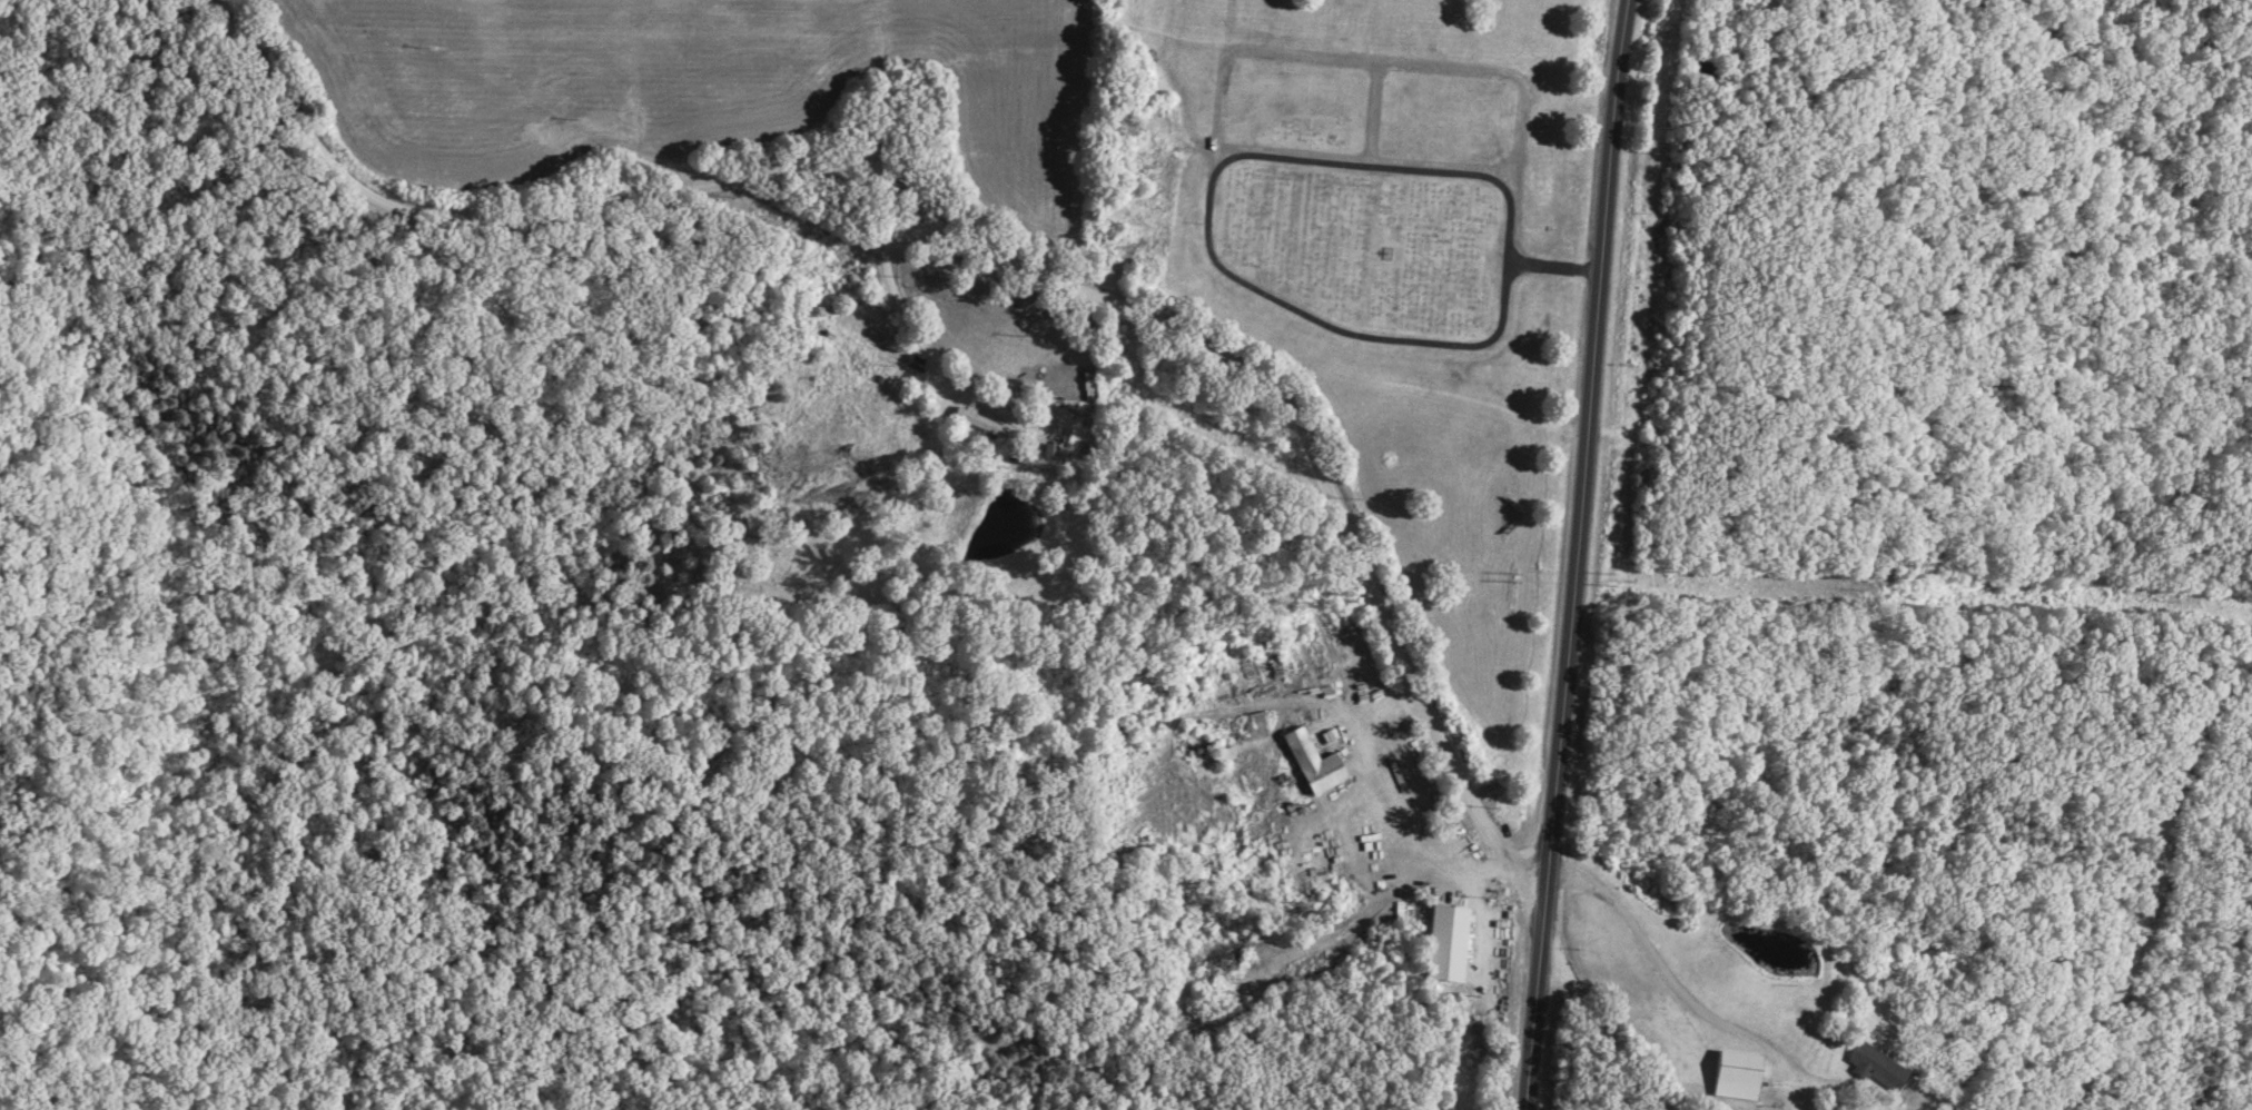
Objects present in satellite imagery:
road: (987, 232)
road: (1214, 251)
road: (1560, 270)
road: (895, 283)
building: (1089, 387)
building: (980, 424)
road: (1587, 555)
building: (1225, 756)
building: (1316, 764)
road: (1426, 861)
road: (2154, 881)
road: (1481, 916)
building: (1448, 944)
road: (1681, 990)
building: (1876, 1068)
building: (1736, 1076)
road: (1920, 1108)

